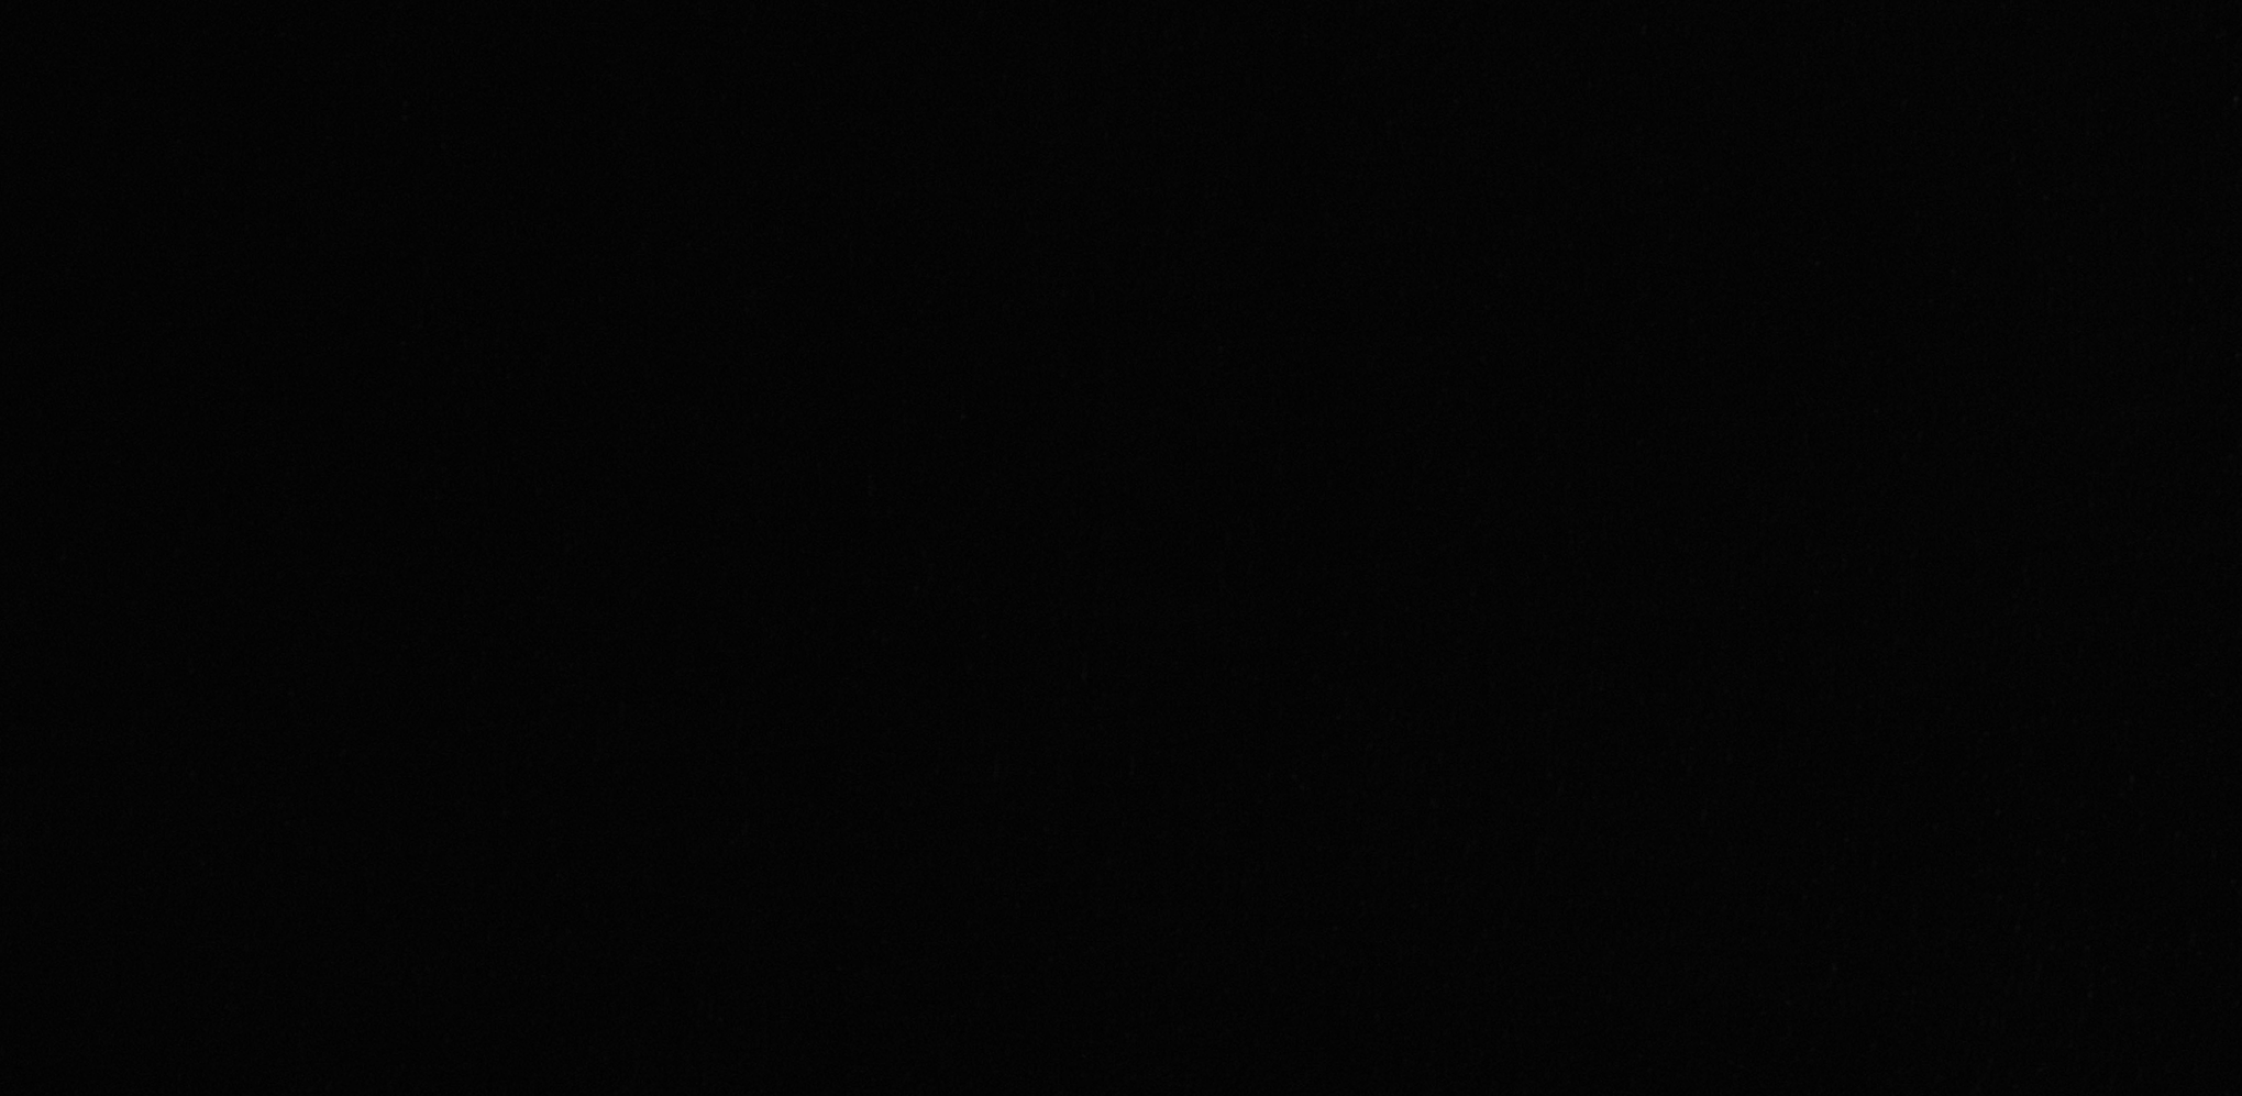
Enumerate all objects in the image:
river: (1001, 547)

